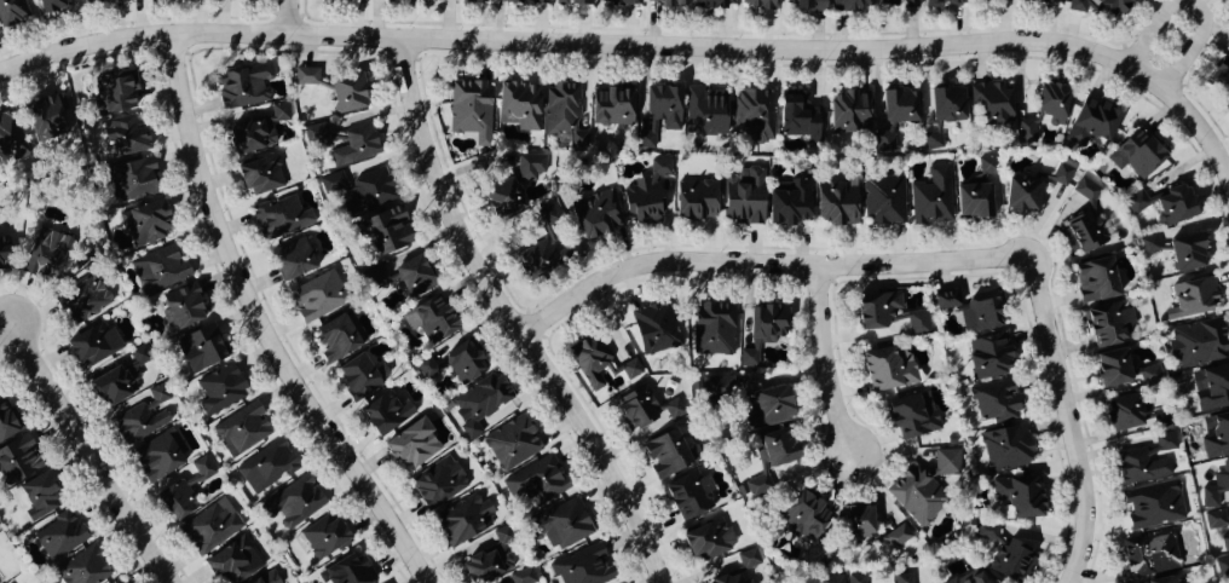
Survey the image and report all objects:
building: (90, 0)
building: (330, 0)
building: (380, 0)
building: (478, 1)
building: (530, 1)
building: (575, 2)
building: (623, 2)
building: (1038, 2)
building: (670, 4)
building: (712, 4)
building: (757, 4)
building: (898, 4)
building: (941, 4)
building: (807, 5)
building: (854, 5)
building: (51, 6)
building: (1100, 6)
road: (1195, 6)
building: (12, 12)
road: (281, 15)
road: (582, 44)
building: (1221, 74)
building: (306, 76)
building: (242, 87)
building: (112, 93)
building: (347, 94)
building: (946, 105)
building: (993, 105)
building: (519, 106)
building: (663, 106)
building: (611, 109)
building: (471, 111)
building: (848, 112)
building: (1044, 112)
building: (564, 114)
building: (705, 114)
building: (755, 115)
building: (894, 115)
building: (797, 117)
building: (46, 119)
building: (1091, 125)
building: (256, 131)
road: (1200, 132)
building: (125, 137)
building: (318, 137)
building: (648, 137)
building: (8, 140)
building: (357, 146)
building: (1138, 155)
building: (529, 168)
building: (259, 175)
building: (1061, 175)
building: (131, 181)
building: (1086, 190)
building: (358, 191)
building: (975, 194)
building: (647, 196)
building: (1021, 196)
building: (744, 197)
building: (933, 198)
building: (501, 200)
building: (696, 201)
building: (884, 201)
building: (789, 204)
building: (835, 206)
building: (1165, 206)
building: (595, 215)
building: (546, 217)
building: (279, 219)
building: (145, 223)
building: (386, 231)
building: (1084, 232)
building: (1153, 244)
building: (1187, 254)
building: (47, 256)
building: (541, 259)
building: (292, 260)
building: (0, 261)
road: (761, 267)
building: (158, 270)
building: (412, 277)
building: (1096, 281)
building: (316, 298)
building: (1193, 299)
building: (81, 300)
building: (181, 308)
building: (970, 310)
building: (887, 314)
road: (506, 317)
building: (428, 323)
road: (254, 325)
building: (1106, 327)
building: (714, 330)
building: (656, 331)
building: (762, 331)
building: (334, 340)
building: (1198, 344)
building: (92, 345)
building: (200, 348)
building: (139, 357)
building: (987, 358)
road: (820, 362)
building: (592, 364)
building: (1112, 369)
building: (631, 370)
building: (888, 371)
building: (1150, 376)
building: (356, 379)
building: (111, 388)
building: (717, 388)
building: (1211, 388)
building: (220, 391)
building: (479, 403)
building: (996, 403)
building: (771, 408)
building: (635, 410)
building: (1123, 414)
building: (385, 415)
building: (912, 416)
building: (142, 419)
road: (1063, 420)
building: (6, 423)
building: (241, 431)
building: (1216, 437)
building: (512, 444)
building: (411, 445)
building: (1006, 449)
road: (87, 455)
building: (664, 455)
building: (157, 457)
building: (771, 458)
building: (18, 461)
building: (1147, 462)
building: (947, 463)
building: (267, 467)
building: (438, 484)
building: (536, 484)
building: (1217, 487)
building: (688, 496)
building: (914, 496)
building: (1020, 497)
building: (39, 498)
building: (175, 502)
building: (294, 504)
building: (1154, 506)
building: (803, 518)
building: (465, 520)
building: (856, 523)
building: (559, 526)
building: (210, 529)
building: (1218, 529)
building: (58, 537)
building: (324, 537)
building: (898, 537)
building: (706, 541)
building: (1002, 554)
building: (1150, 554)
building: (490, 561)
building: (230, 562)
building: (582, 567)
building: (1223, 567)
building: (83, 568)
building: (745, 570)
building: (348, 572)
building: (523, 576)
building: (969, 577)
building: (267, 578)
building: (902, 578)
building: (856, 579)
building: (1167, 581)
building: (120, 582)

